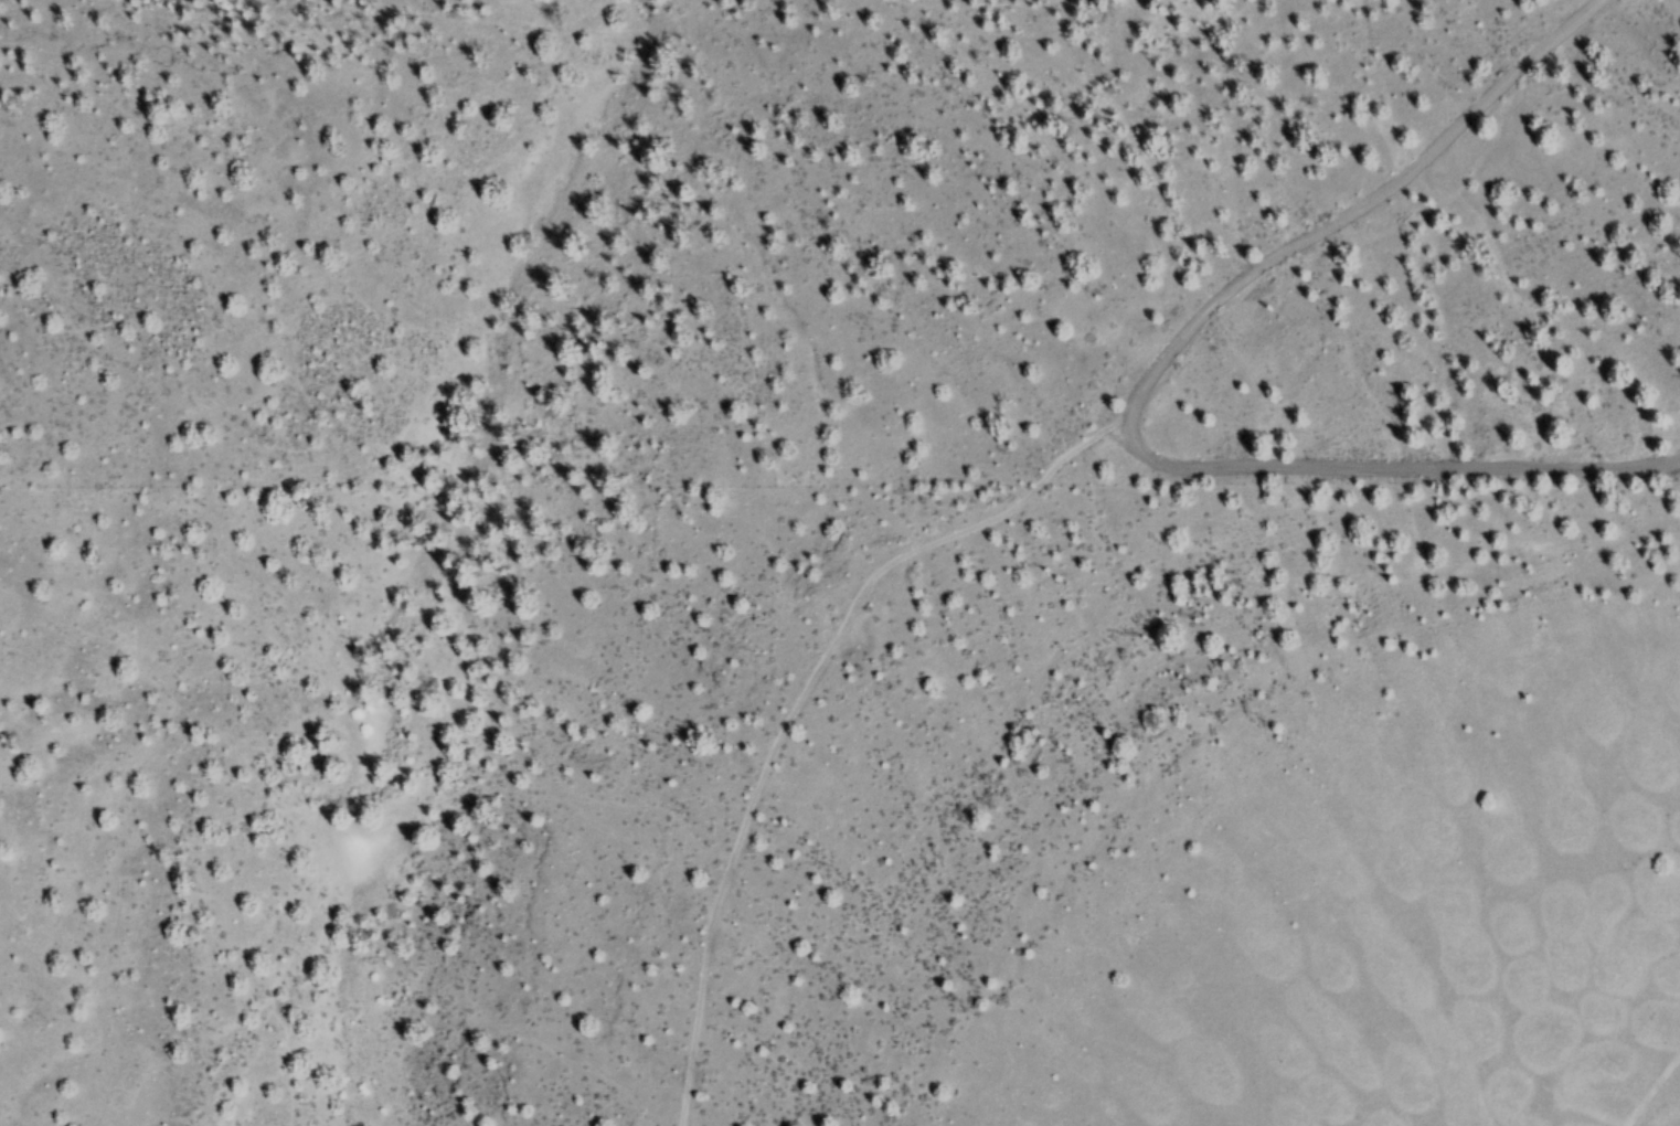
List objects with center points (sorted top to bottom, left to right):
road: (1140, 389)

